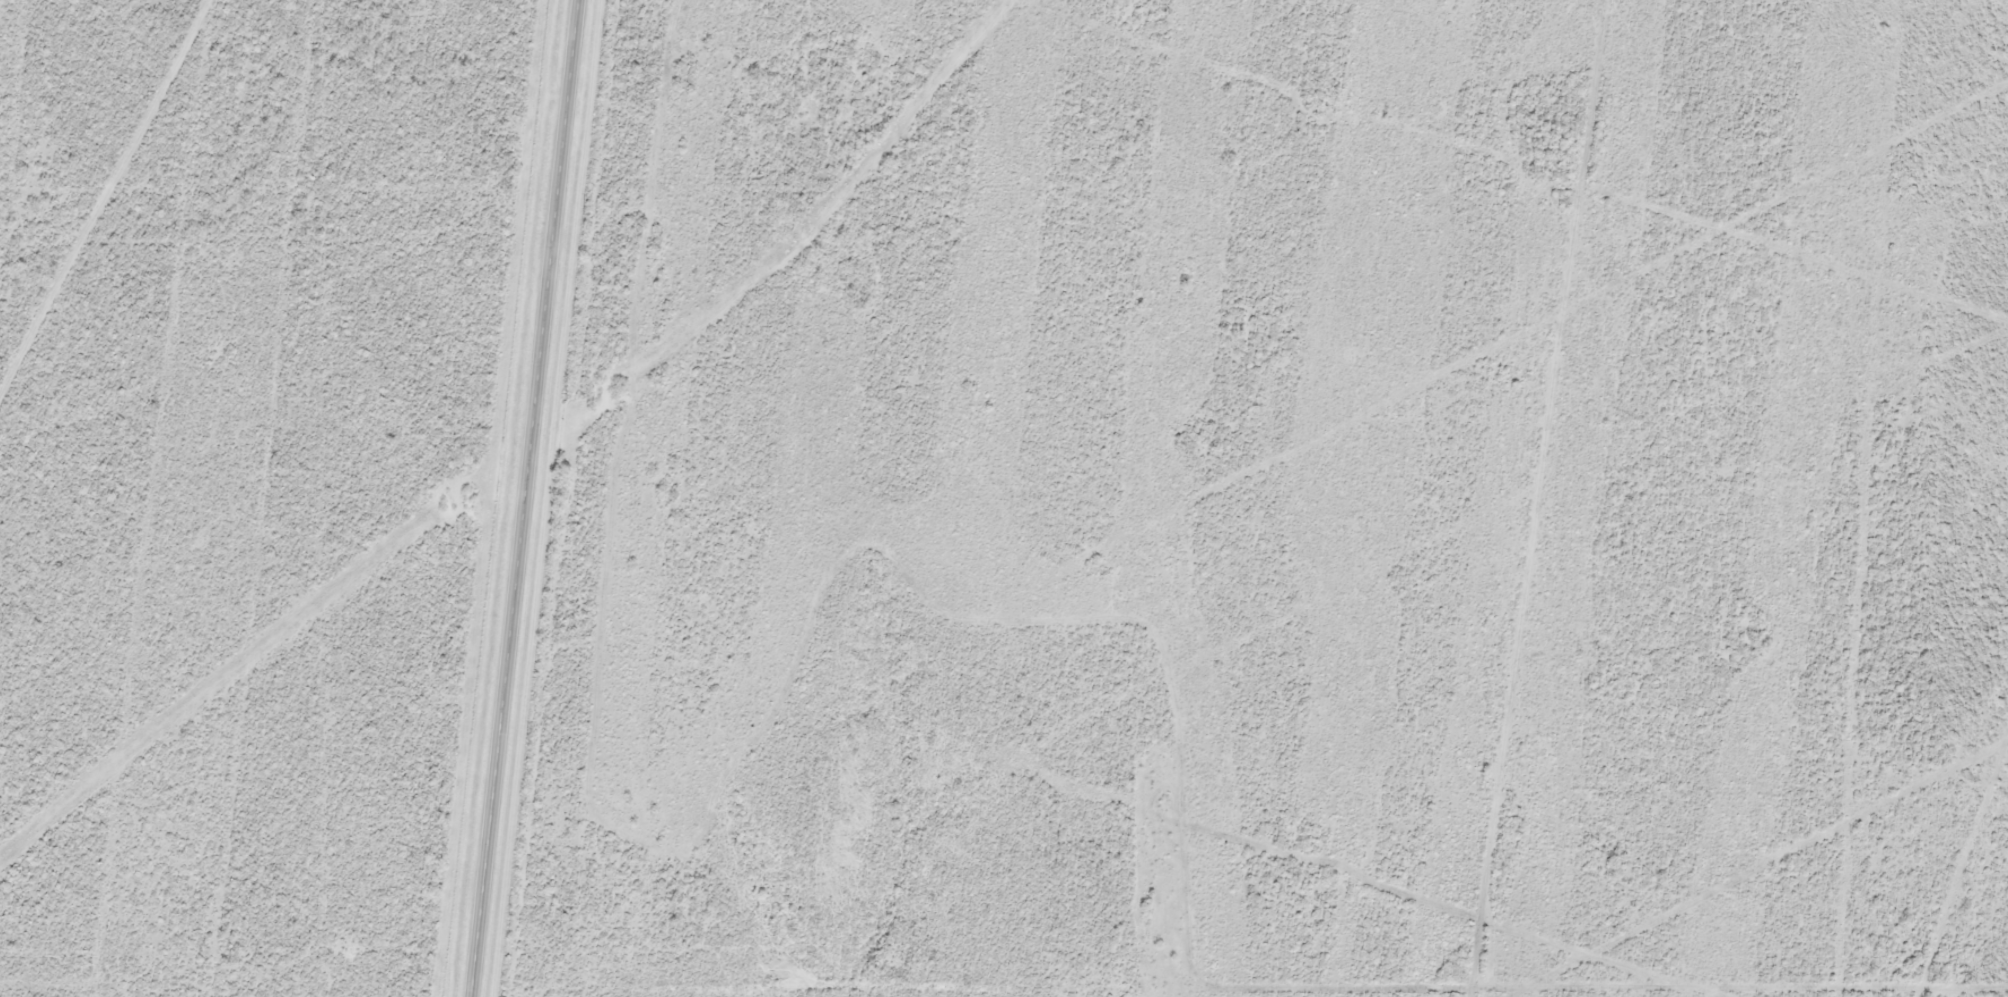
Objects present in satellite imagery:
road: (530, 498)

